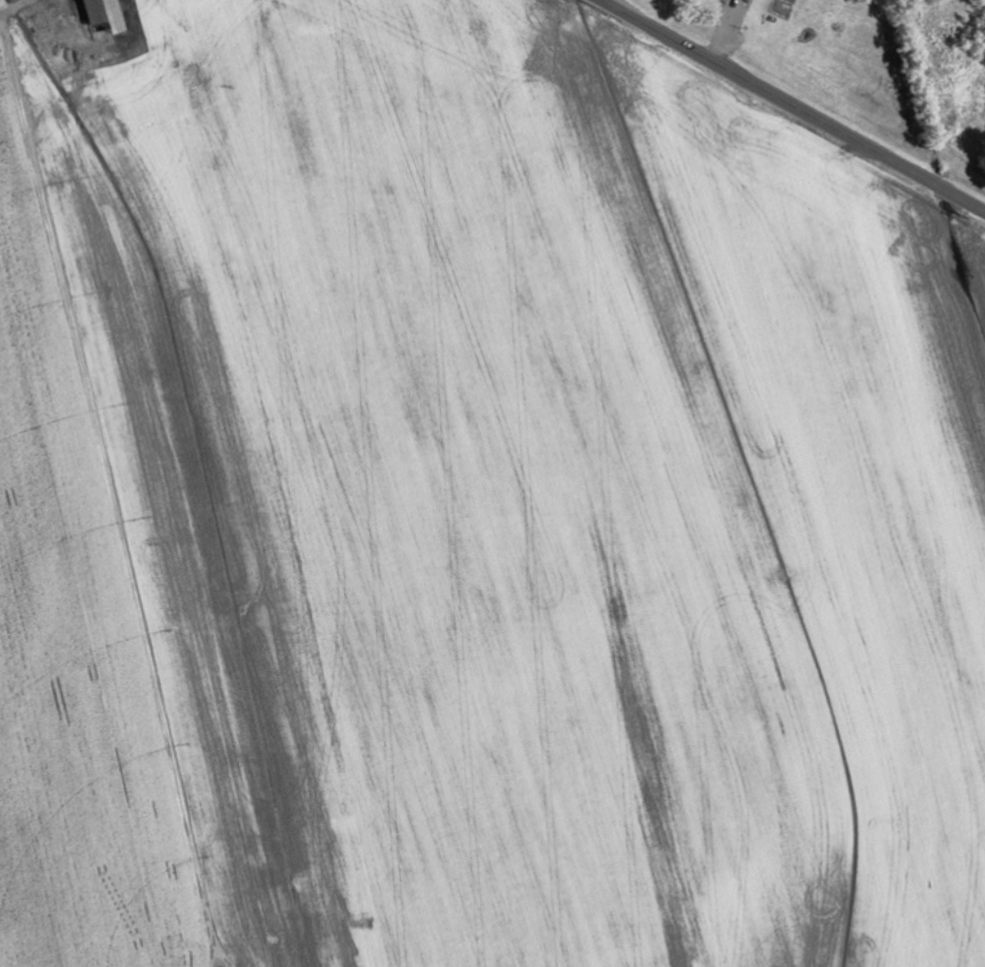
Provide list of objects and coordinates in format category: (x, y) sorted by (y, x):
road: (15, 8)
building: (106, 16)
road: (792, 103)

